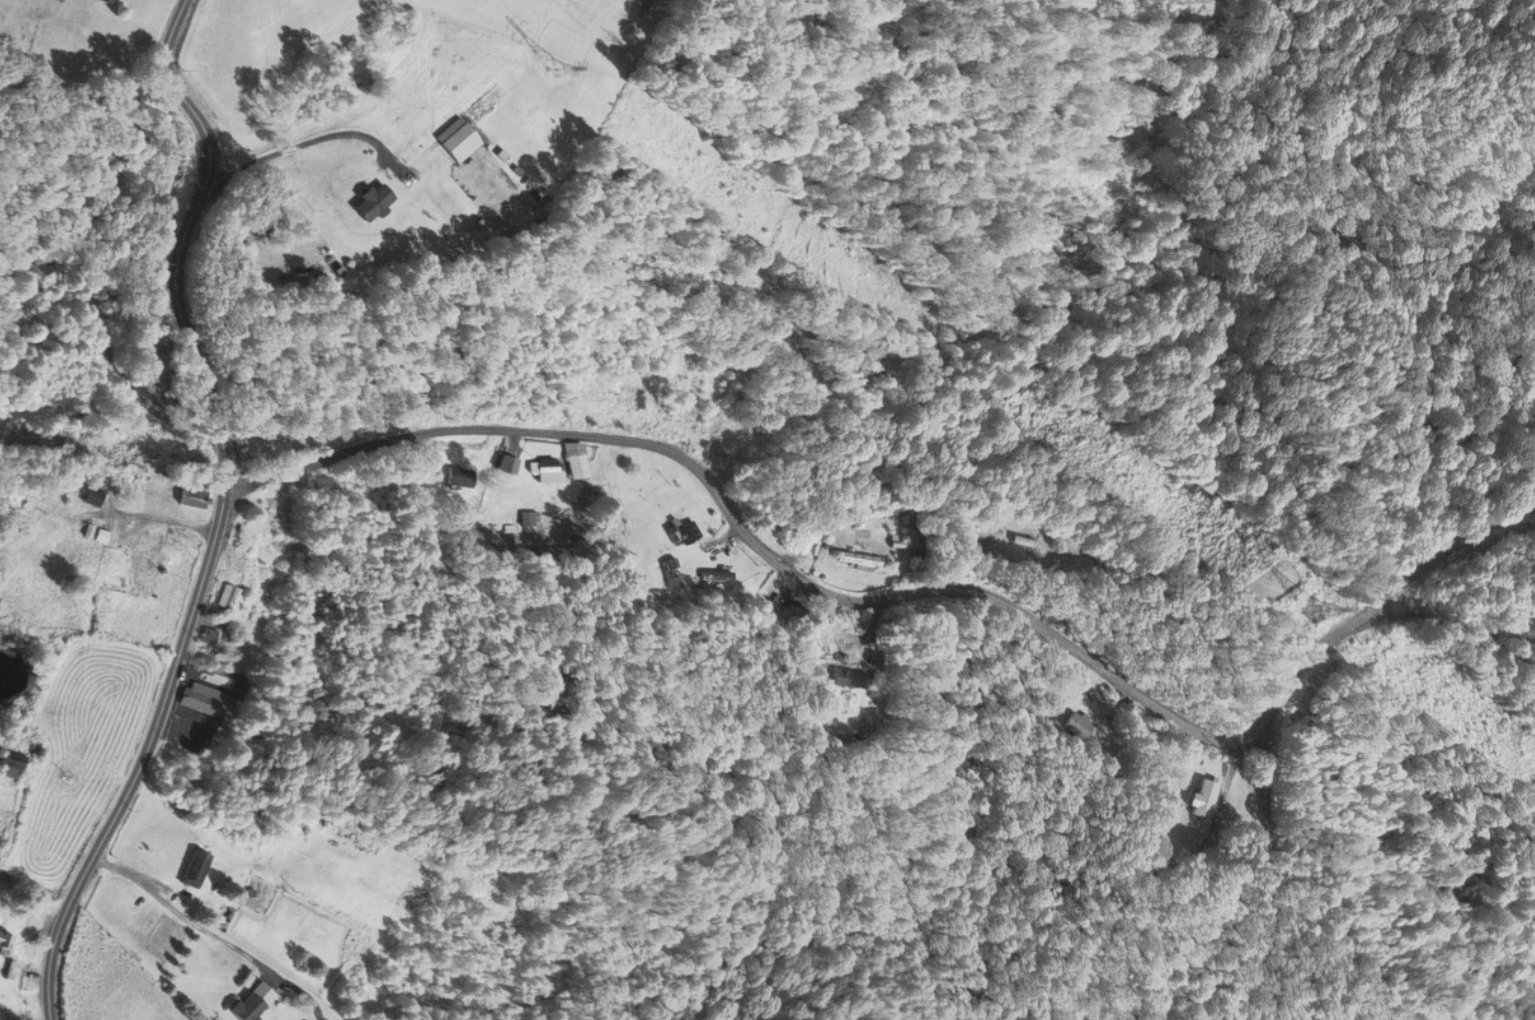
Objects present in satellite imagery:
building: (109, 2)
power tower: (554, 60)
building: (457, 139)
building: (373, 202)
building: (576, 461)
building: (511, 465)
building: (547, 469)
building: (461, 477)
building: (194, 495)
road: (221, 511)
building: (529, 519)
building: (101, 531)
building: (681, 533)
building: (1020, 542)
building: (145, 567)
building: (710, 577)
road: (912, 598)
building: (229, 599)
power tower: (1298, 609)
building: (208, 635)
building: (837, 679)
building: (205, 700)
building: (1071, 726)
building: (12, 766)
building: (0, 791)
building: (1196, 800)
building: (194, 869)
building: (6, 941)
building: (248, 1006)

